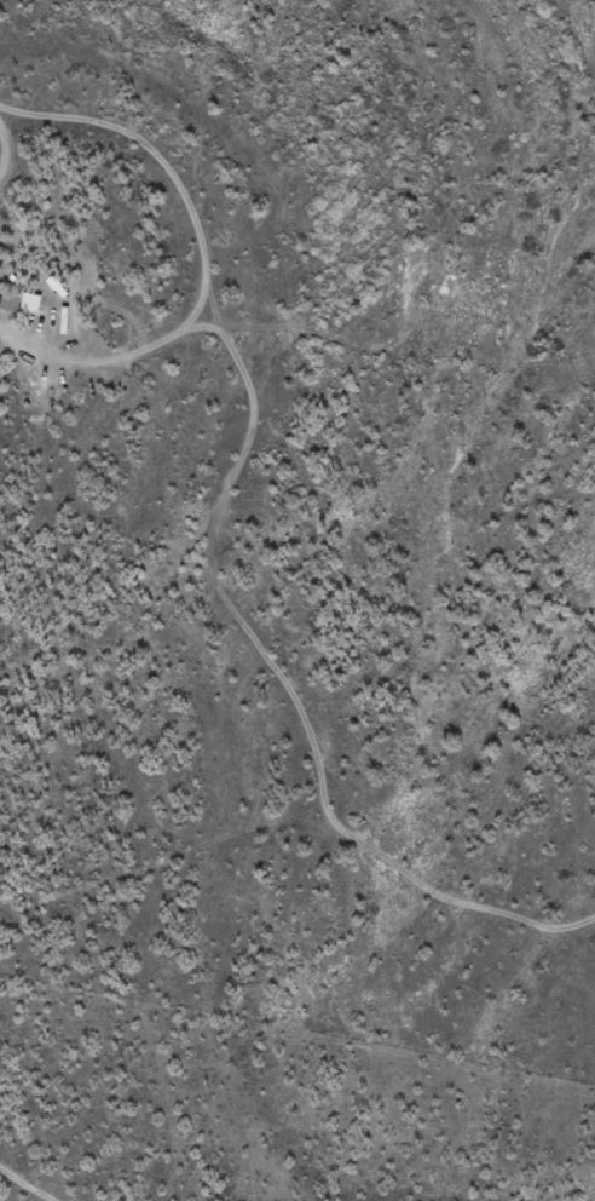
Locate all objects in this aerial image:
road: (200, 268)
building: (8, 311)

